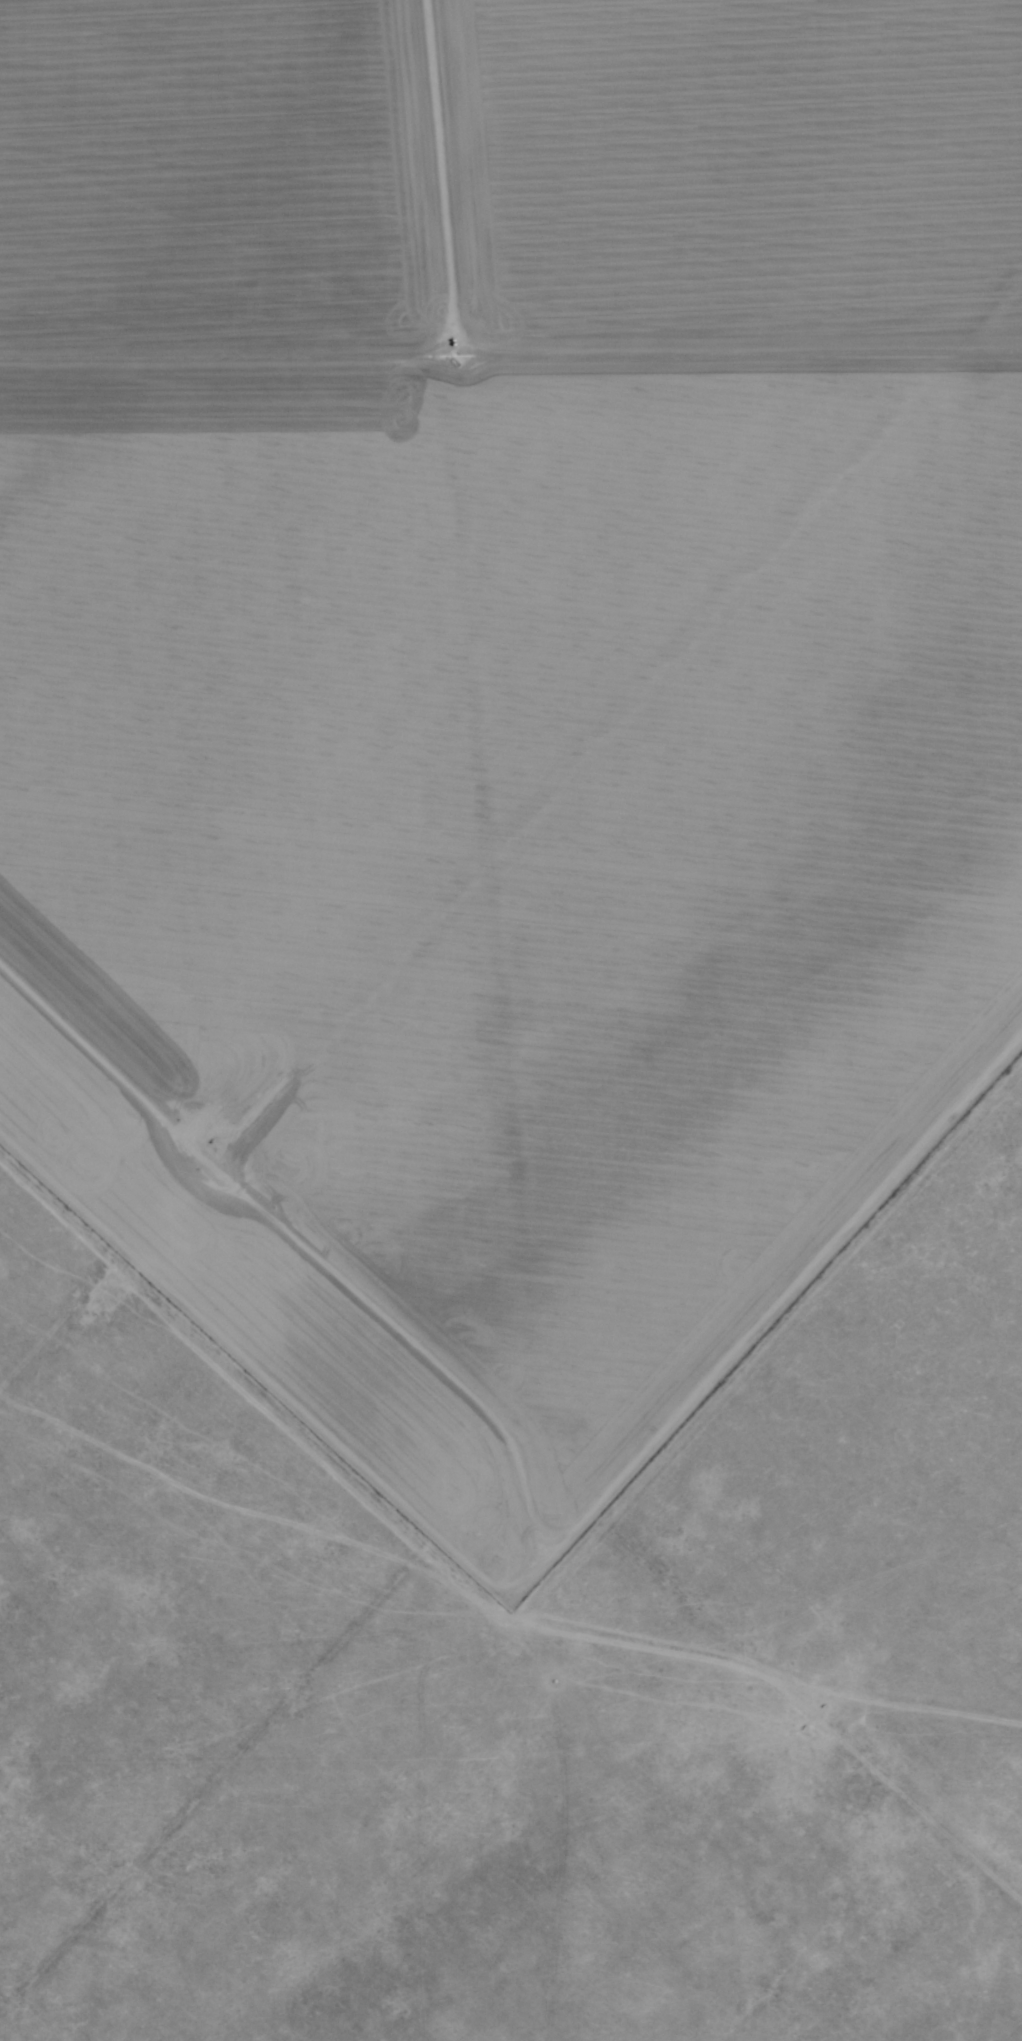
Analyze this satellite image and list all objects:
crop: (505, 569)

